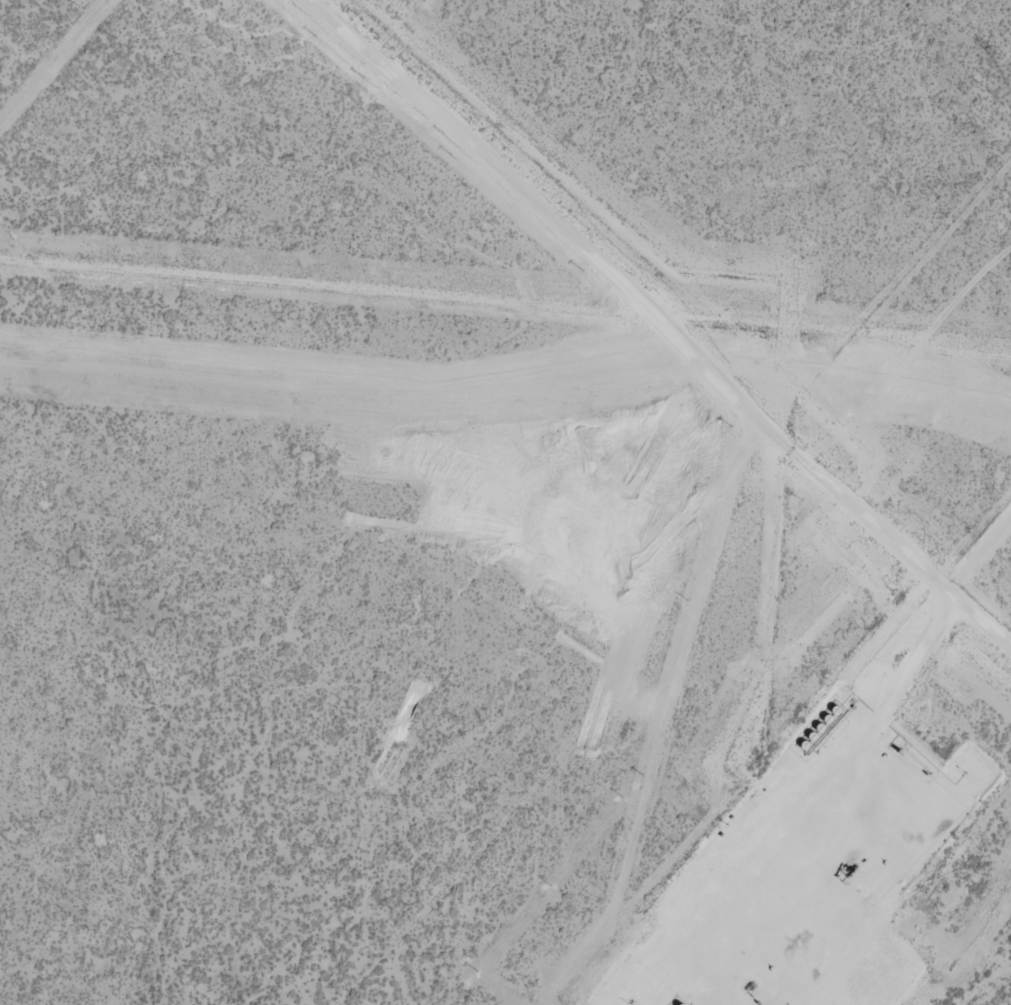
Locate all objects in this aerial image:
road: (692, 239)
road: (656, 322)
road: (902, 350)
road: (694, 566)
road: (904, 673)

